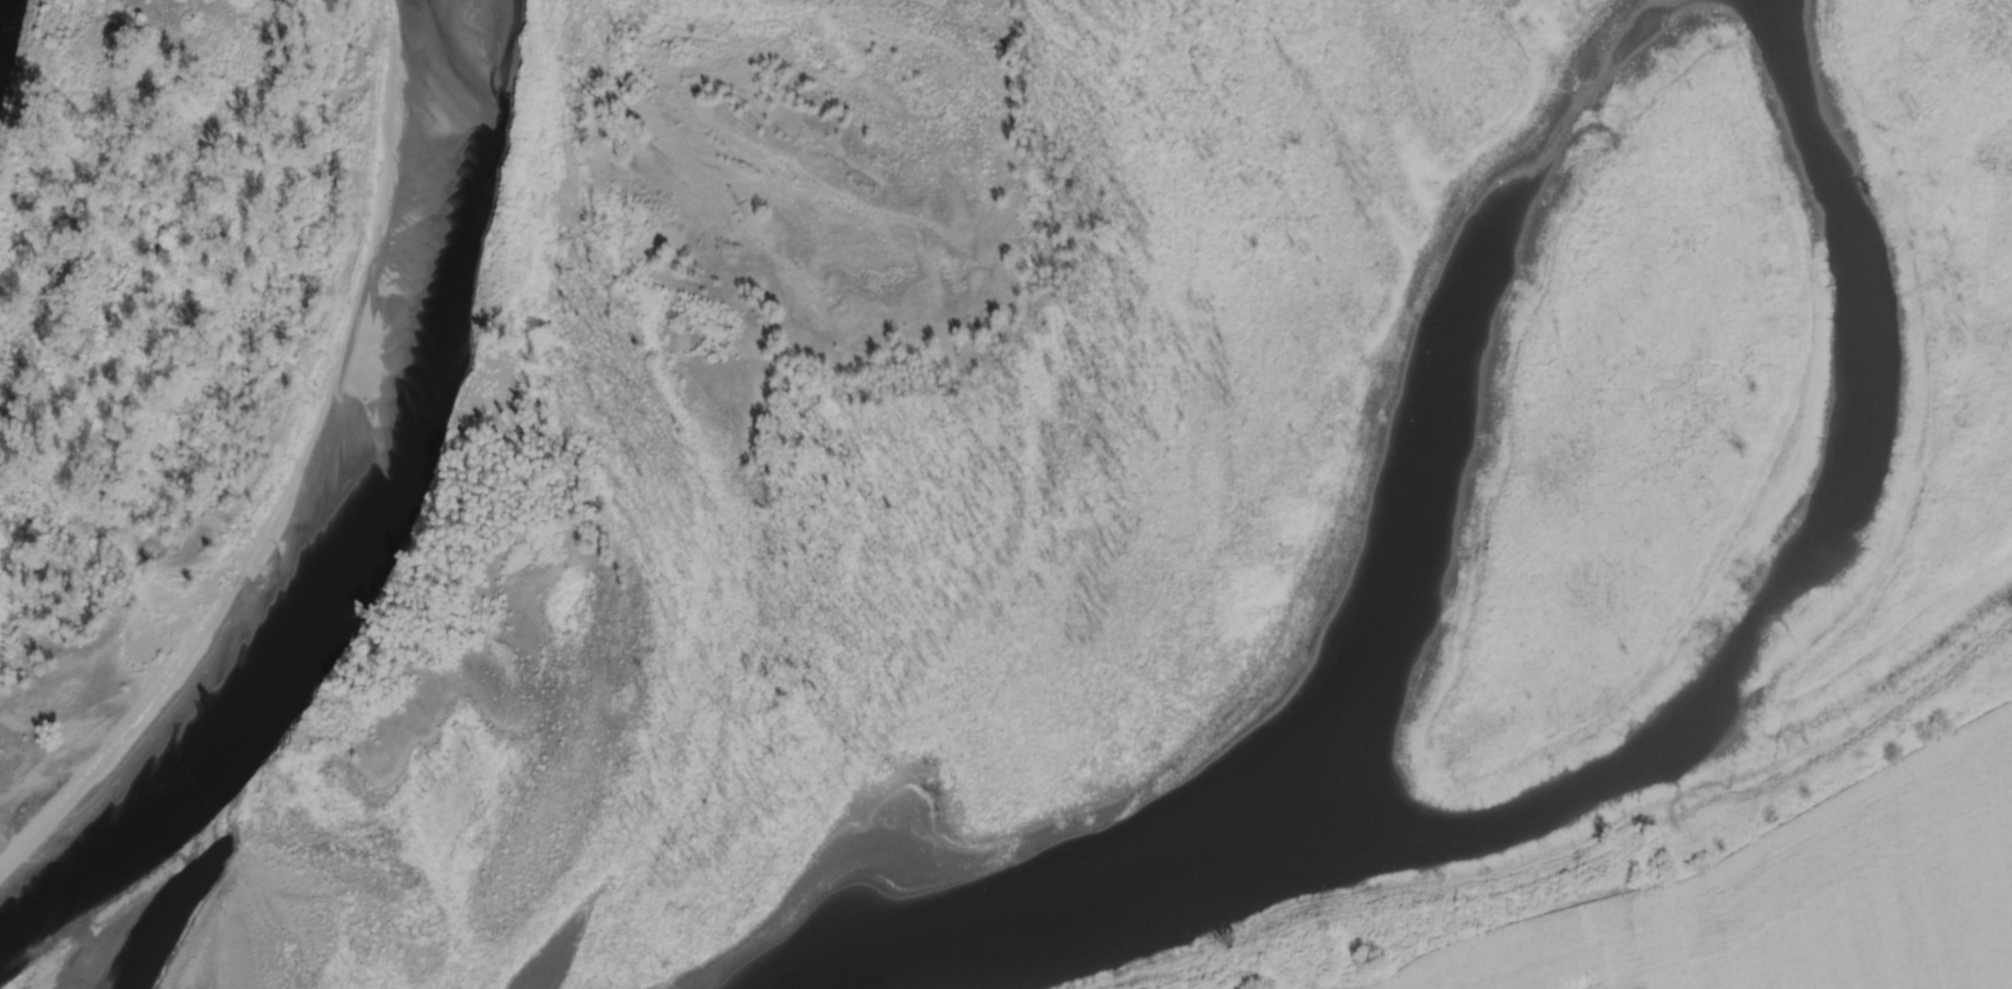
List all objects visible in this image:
road: (1693, 885)

